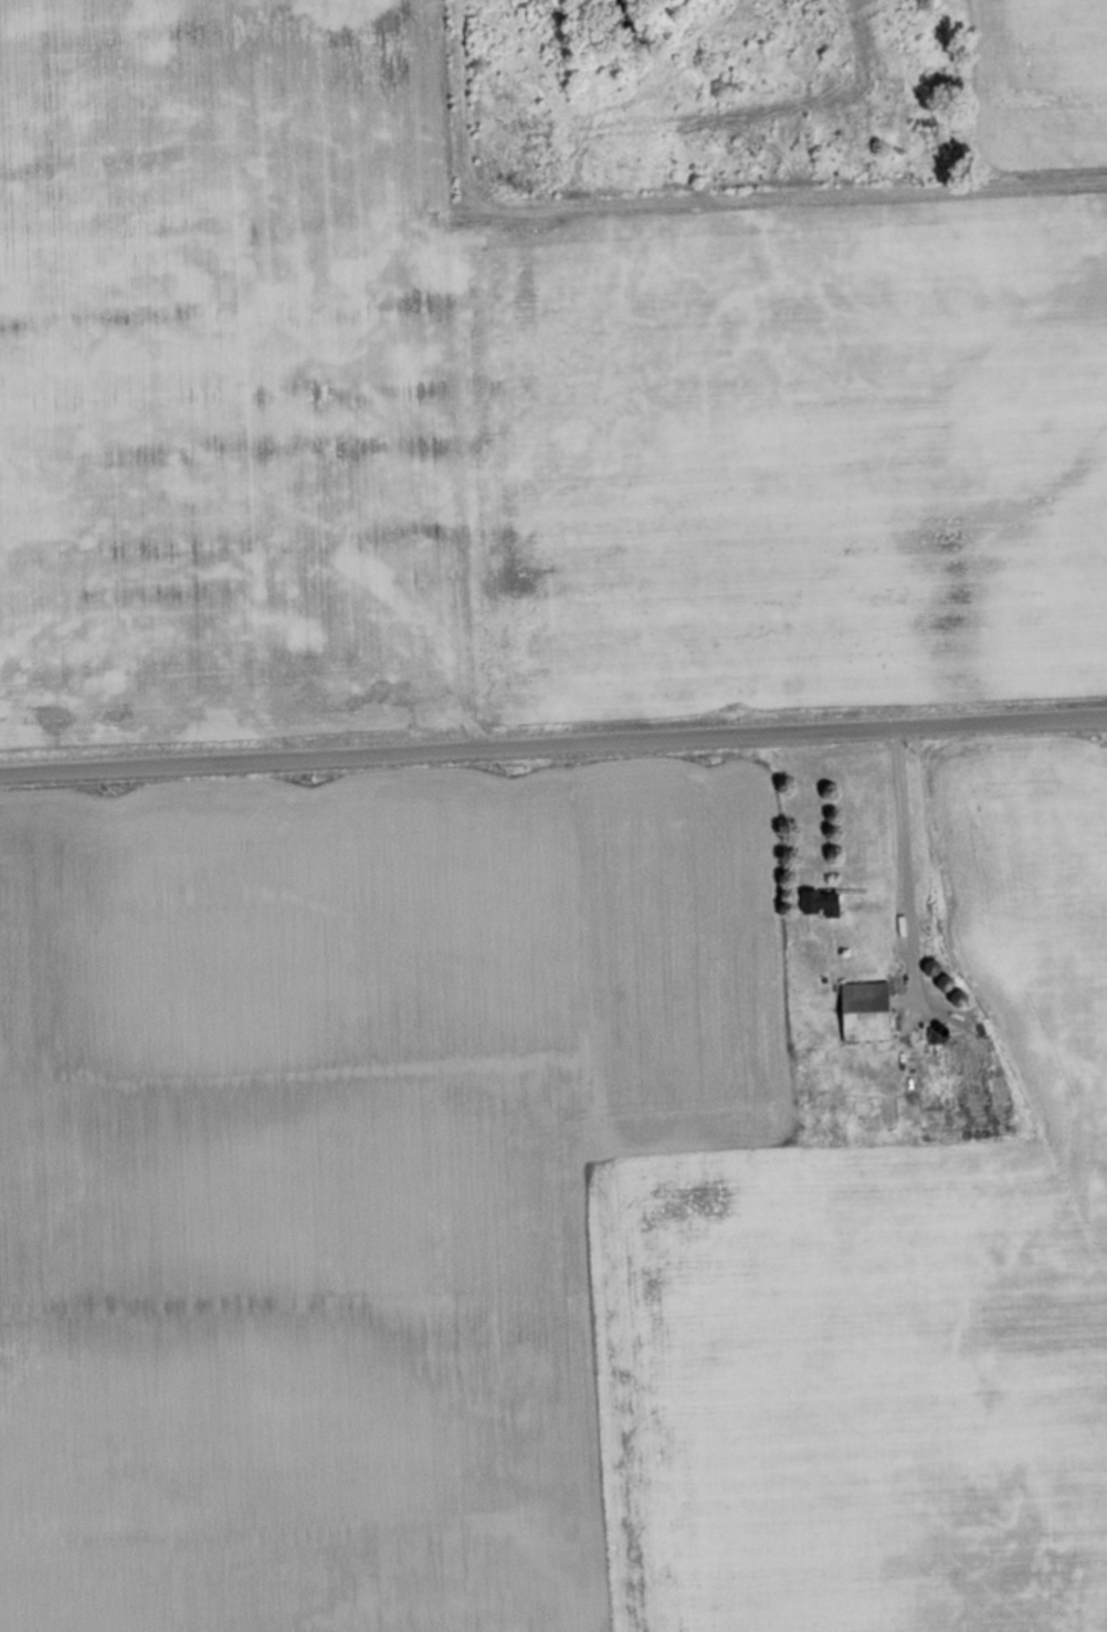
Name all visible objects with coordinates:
crop: (260, 375)
road: (553, 748)
building: (822, 904)
building: (866, 1012)
crop: (309, 1219)
crop: (914, 1289)

